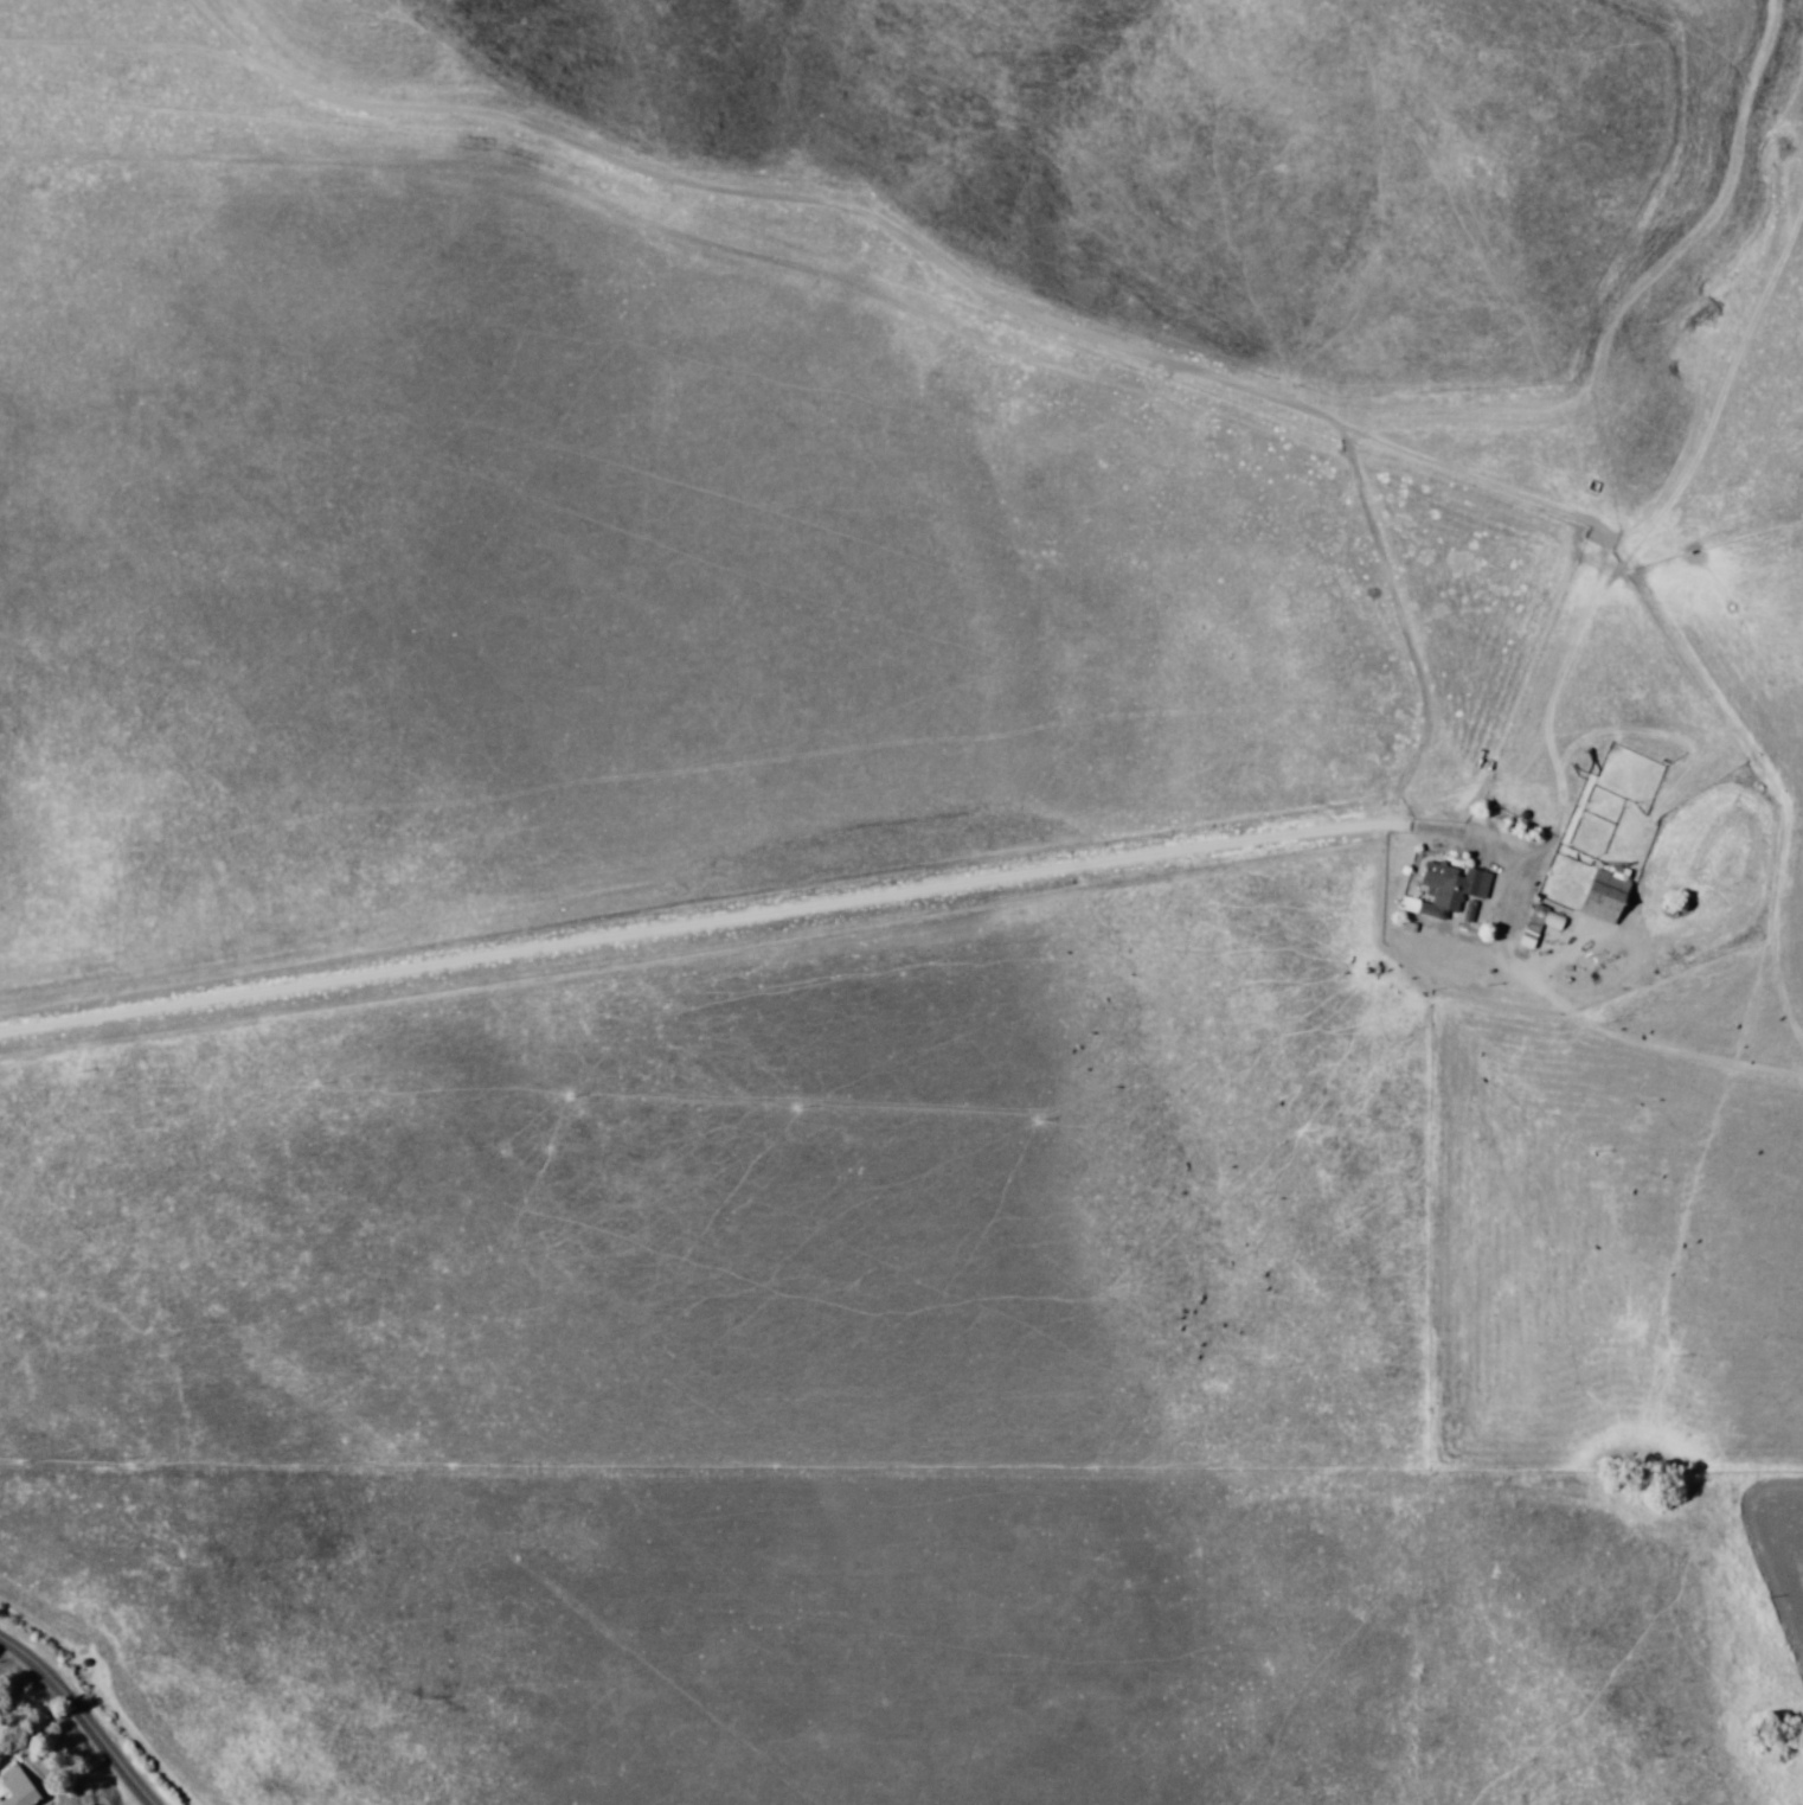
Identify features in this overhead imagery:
road: (1090, 334)
road: (905, 887)
building: (1449, 892)
crop: (906, 896)
building: (1599, 900)
building: (1529, 926)
road: (84, 1709)
building: (21, 1791)

